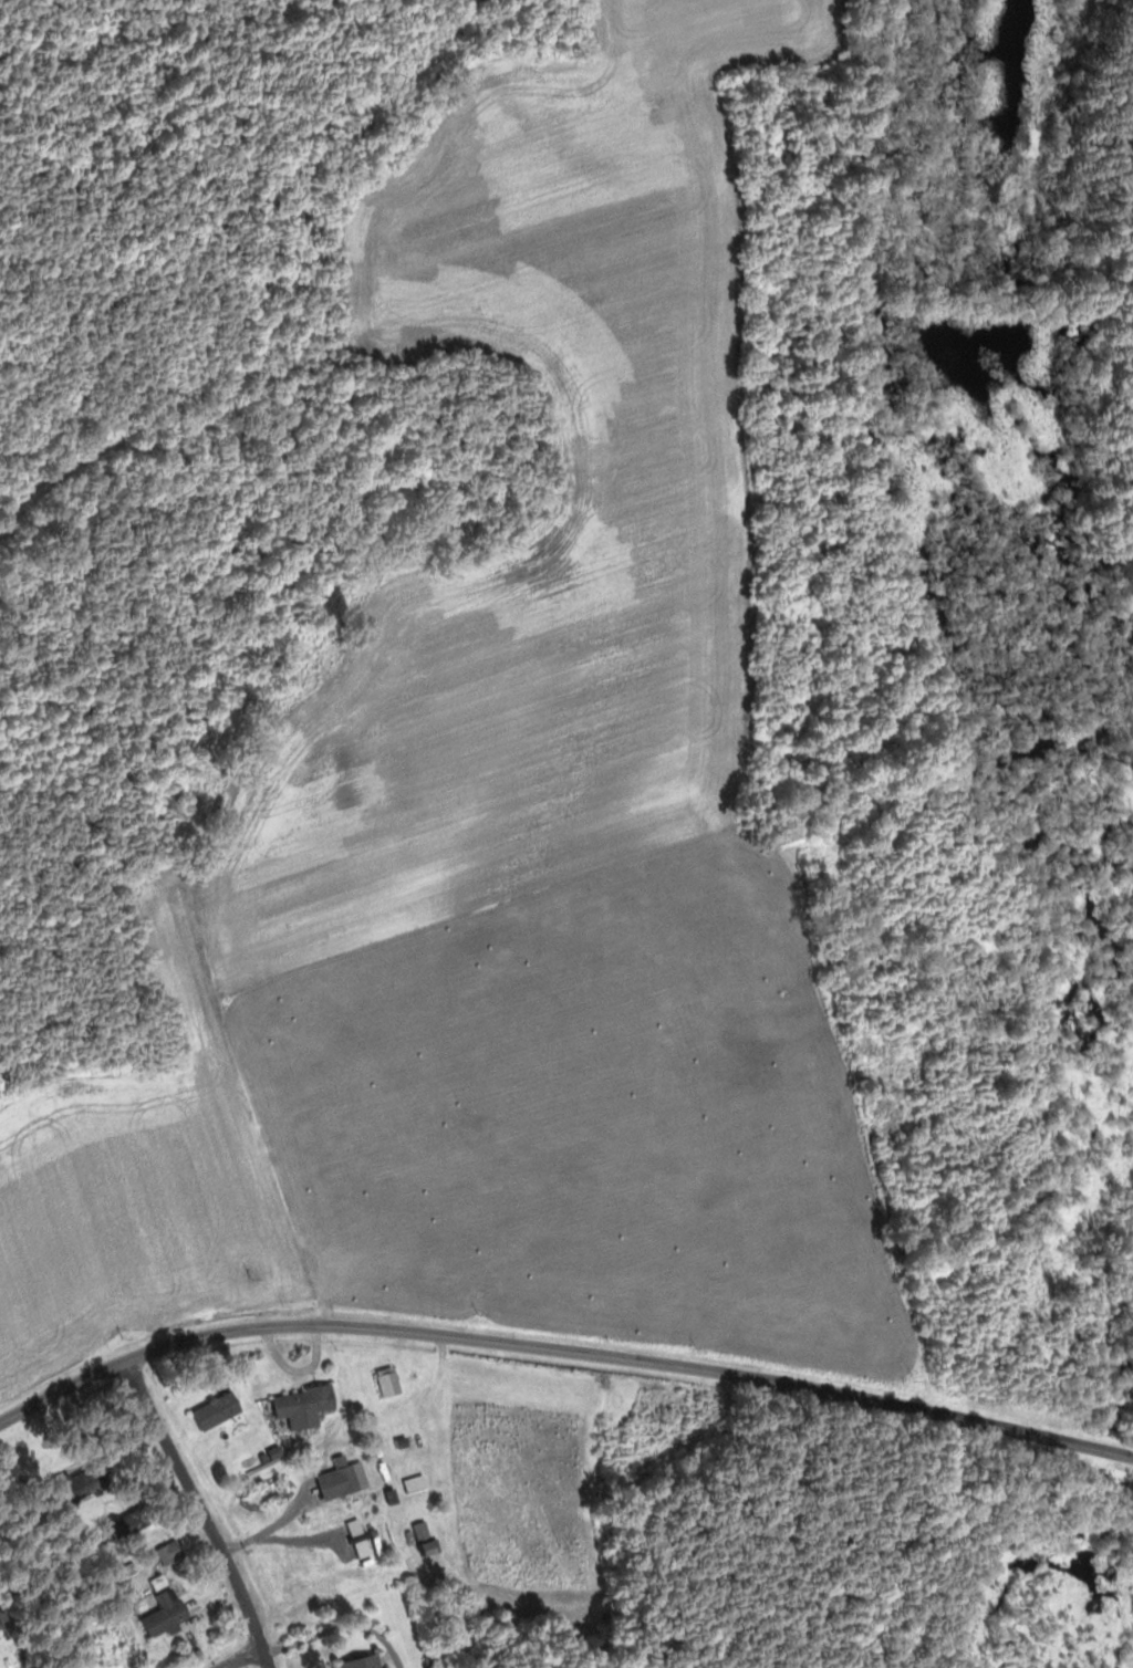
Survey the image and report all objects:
building: (227, 732)
building: (347, 790)
road: (214, 1021)
road: (560, 1349)
road: (294, 1370)
building: (392, 1383)
building: (306, 1408)
building: (220, 1410)
building: (416, 1443)
building: (346, 1479)
building: (93, 1481)
road: (202, 1511)
building: (134, 1524)
building: (428, 1540)
building: (169, 1614)
building: (3, 1622)
road: (339, 1628)
building: (0, 1640)
road: (246, 1658)
building: (367, 1662)

